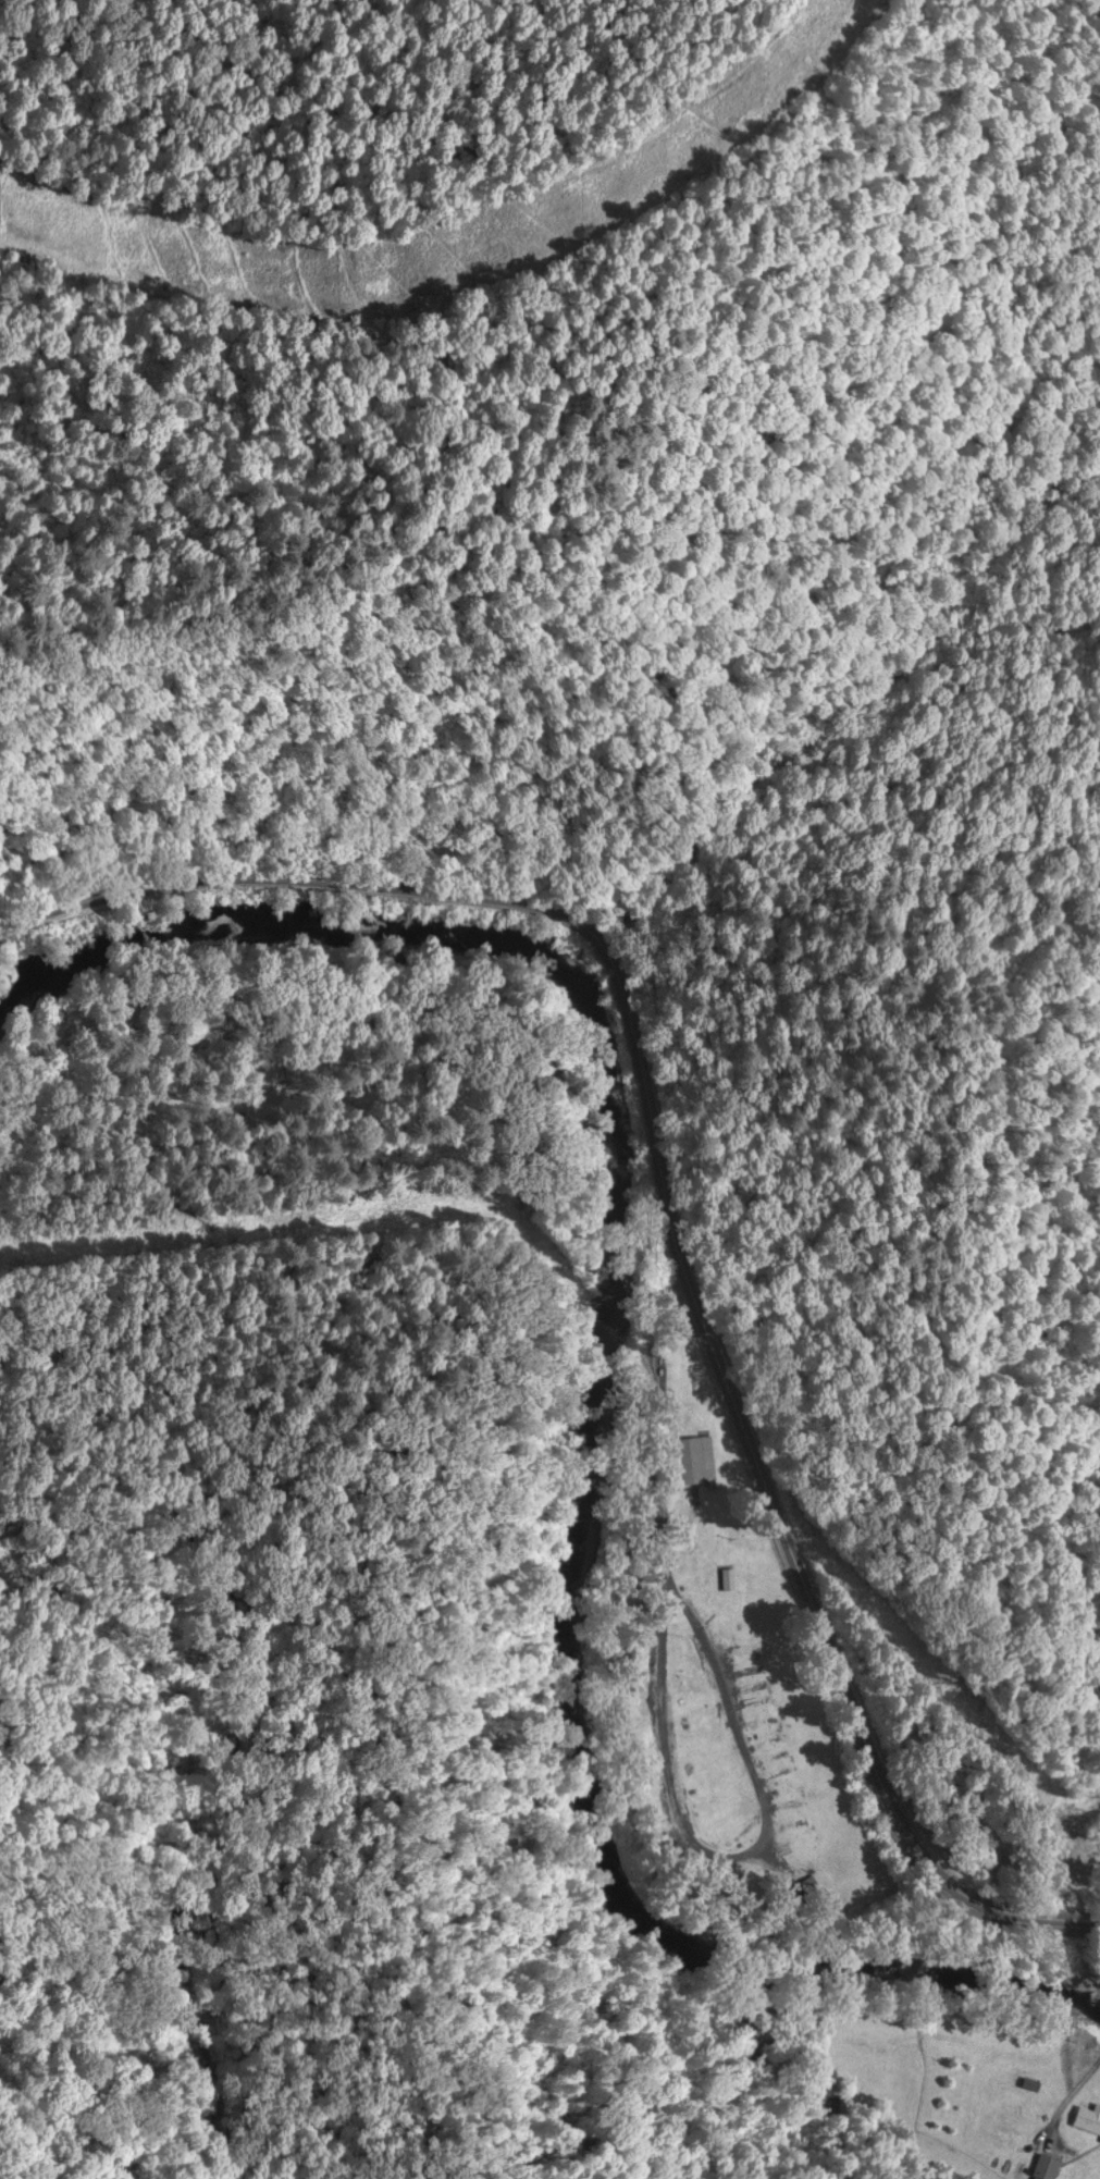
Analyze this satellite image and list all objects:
road: (669, 1198)
river: (595, 1392)
building: (705, 1466)
road: (663, 1500)
road: (763, 1808)
road: (1070, 2097)

